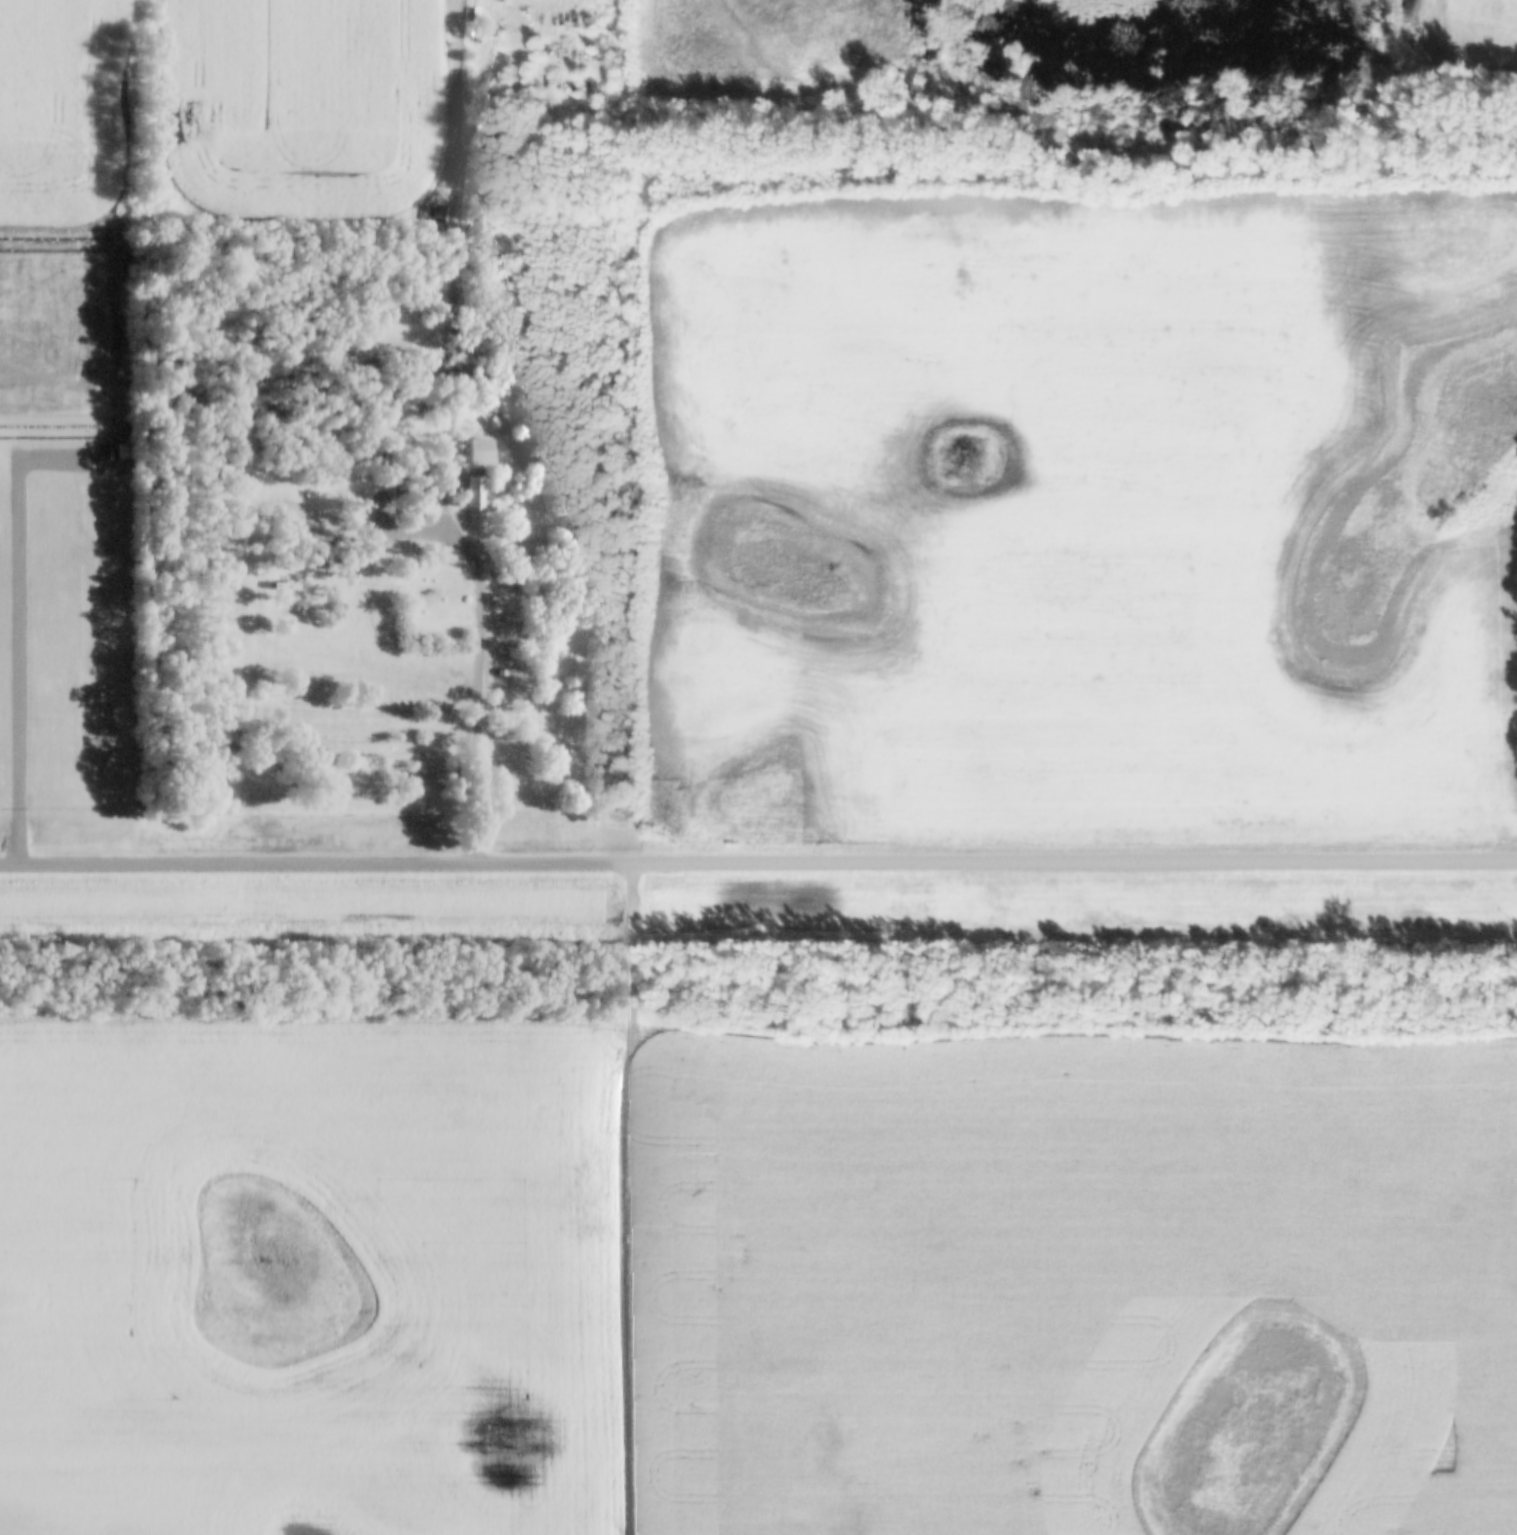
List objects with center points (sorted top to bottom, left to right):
building: (421, 492)
building: (471, 492)
road: (10, 626)
road: (379, 632)
road: (758, 864)
road: (624, 1199)

